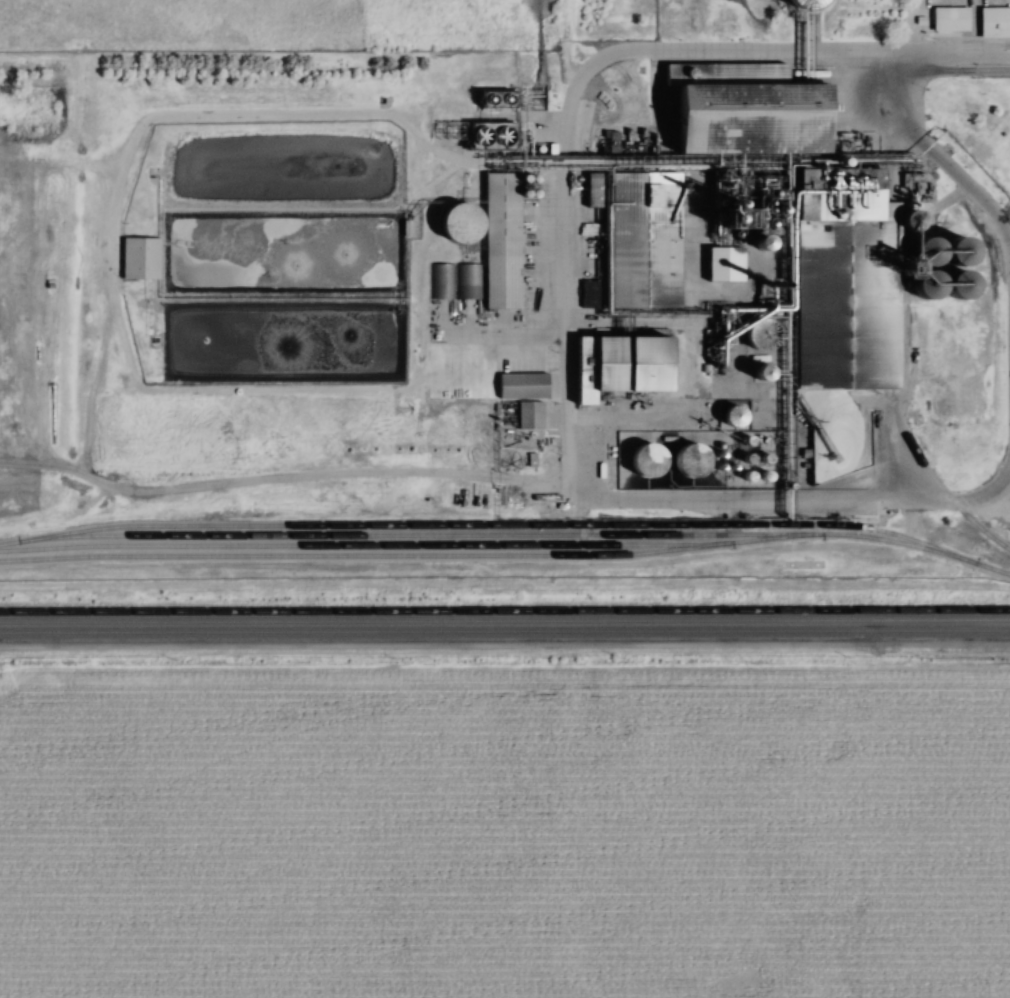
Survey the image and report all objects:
building: (955, 15)
building: (997, 18)
road: (959, 55)
building: (502, 98)
building: (757, 122)
building: (452, 131)
building: (493, 136)
road: (561, 200)
building: (464, 224)
building: (763, 244)
building: (496, 248)
building: (147, 254)
building: (724, 265)
building: (639, 281)
building: (441, 282)
railway: (891, 404)
building: (692, 461)
building: (647, 462)
railway: (508, 524)
railway: (429, 536)
railway: (347, 547)
railway: (474, 556)
railway: (505, 611)
railway: (505, 622)
railway: (505, 631)

